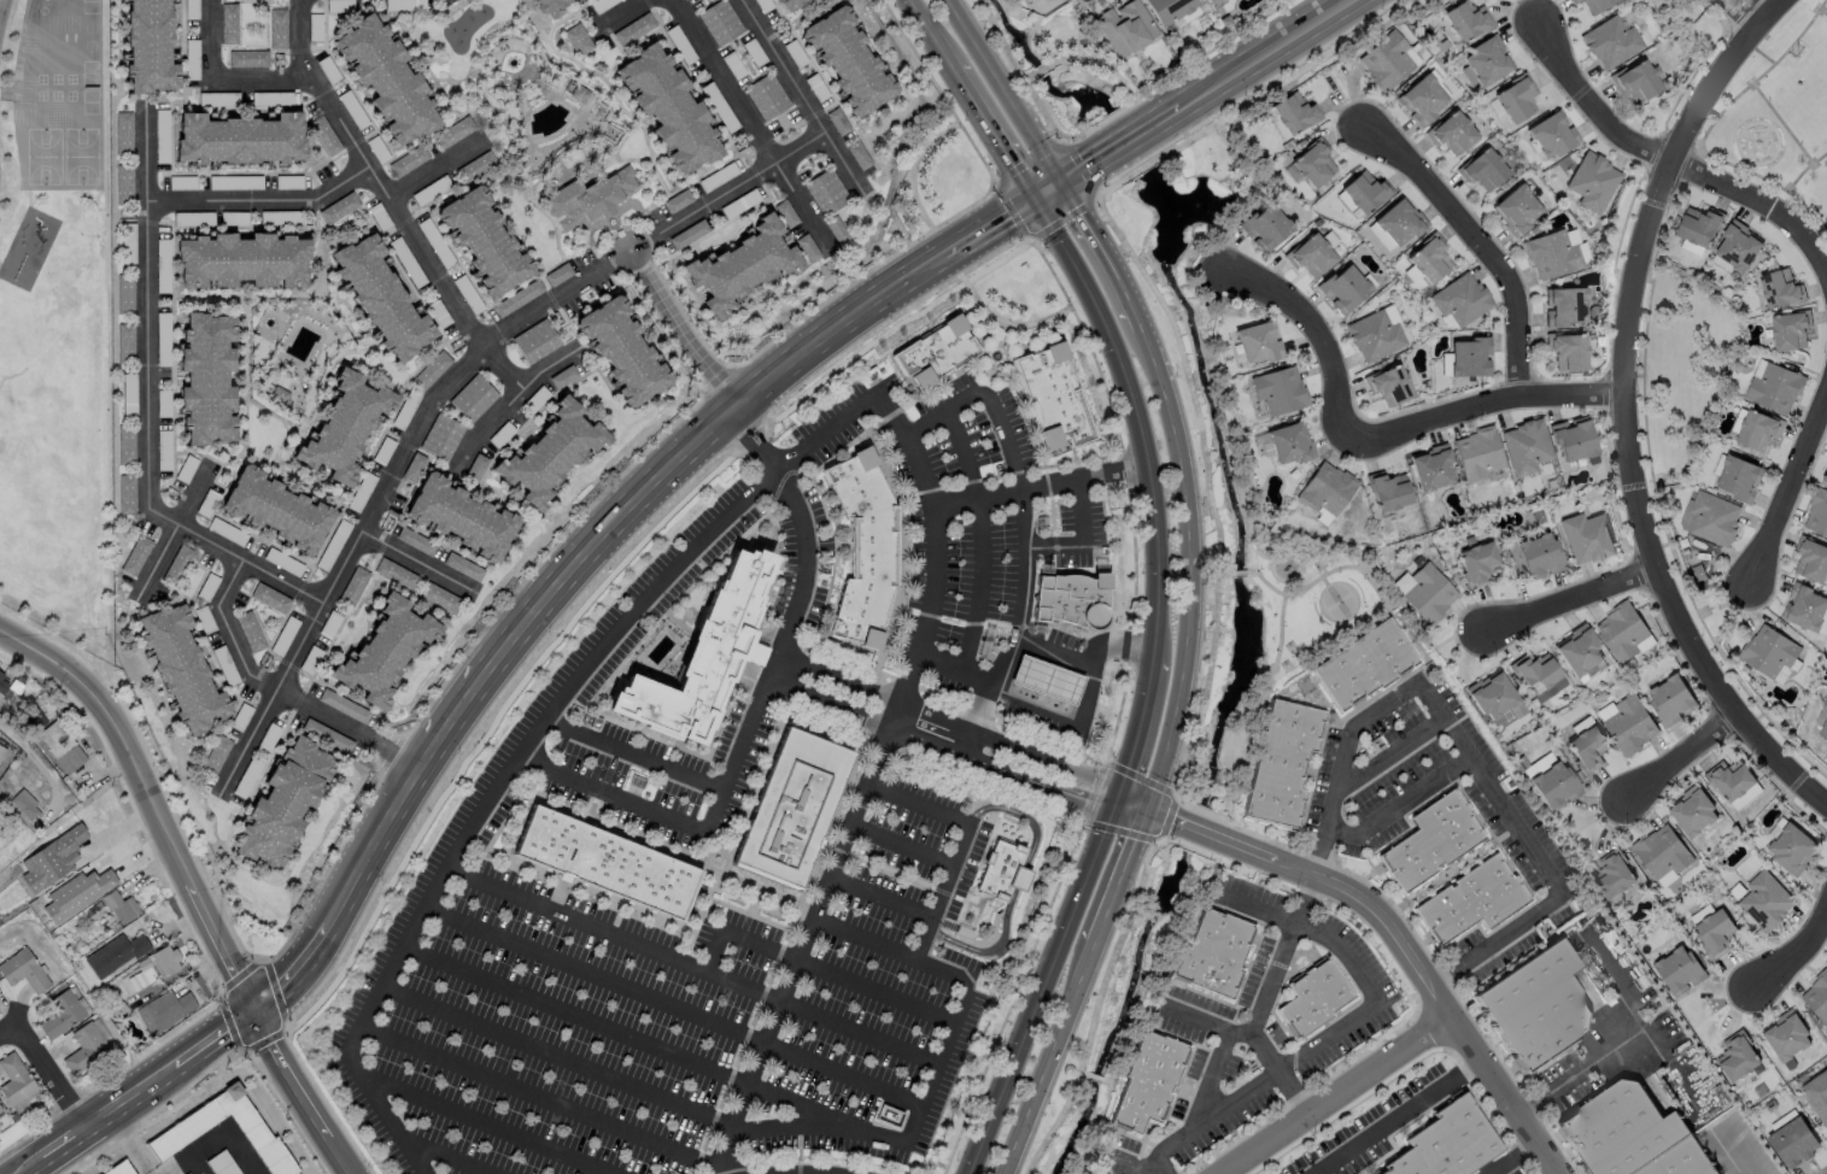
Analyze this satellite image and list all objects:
building: (1206, 1)
building: (1211, 1)
building: (791, 4)
building: (601, 5)
building: (549, 6)
building: (1592, 6)
road: (1770, 6)
road: (1820, 7)
building: (1167, 8)
road: (1, 10)
road: (619, 14)
building: (1465, 20)
building: (720, 22)
road: (1727, 22)
building: (228, 23)
road: (297, 25)
park: (464, 25)
building: (277, 28)
building: (633, 29)
building: (1128, 29)
road: (1079, 31)
road: (929, 36)
building: (576, 39)
building: (1610, 40)
building: (152, 43)
road: (1788, 47)
road: (1761, 52)
road: (1264, 53)
building: (247, 58)
building: (1387, 59)
building: (1486, 59)
building: (847, 60)
road: (1099, 64)
road: (1042, 69)
road: (1019, 71)
road: (1027, 76)
building: (1635, 78)
road: (221, 80)
building: (387, 80)
road: (1002, 89)
building: (578, 93)
building: (766, 95)
road: (801, 96)
building: (1422, 99)
building: (1515, 101)
building: (667, 105)
building: (1295, 112)
road: (1166, 115)
park: (1781, 115)
building: (160, 125)
road: (750, 125)
building: (123, 131)
building: (453, 131)
building: (1454, 133)
road: (990, 134)
building: (323, 135)
building: (1551, 135)
building: (241, 139)
road: (1122, 142)
road: (1799, 146)
building: (857, 154)
road: (1820, 157)
road: (28, 158)
park: (64, 158)
building: (1481, 159)
building: (408, 160)
road: (1665, 160)
building: (1314, 165)
road: (435, 166)
building: (474, 166)
road: (1081, 168)
road: (1076, 170)
traffic signals: (1060, 180)
building: (289, 181)
building: (1591, 181)
building: (124, 183)
road: (1046, 188)
building: (826, 190)
building: (1365, 192)
traffic signals: (1031, 196)
building: (1512, 196)
road: (259, 199)
building: (677, 200)
building: (586, 201)
fountain: (1183, 202)
building: (338, 207)
road: (1806, 207)
building: (785, 213)
fountain: (610, 221)
building: (1399, 222)
road: (403, 223)
road: (988, 225)
building: (1267, 225)
building: (1697, 225)
building: (424, 227)
building: (836, 229)
building: (685, 235)
road: (649, 237)
building: (482, 240)
road: (1474, 242)
building: (1545, 242)
building: (1737, 246)
building: (807, 247)
road: (1107, 253)
building: (1312, 256)
building: (239, 259)
building: (1429, 262)
building: (739, 265)
building: (557, 274)
building: (1779, 287)
building: (1343, 288)
building: (380, 294)
building: (1564, 294)
building: (124, 295)
building: (516, 298)
building: (1459, 298)
building: (1793, 327)
building: (1374, 335)
building: (1568, 339)
building: (124, 340)
building: (535, 340)
road: (1314, 340)
building: (926, 341)
building: (1258, 344)
building: (620, 351)
fountain: (996, 354)
building: (1468, 358)
building: (431, 369)
building: (562, 376)
building: (206, 378)
building: (1048, 385)
building: (1387, 385)
building: (1779, 387)
building: (1278, 391)
building: (472, 398)
road: (1487, 399)
road: (508, 400)
road: (1627, 410)
building: (403, 412)
road: (1134, 418)
building: (345, 424)
building: (1752, 428)
building: (440, 436)
road: (687, 441)
building: (1290, 444)
building: (1574, 444)
building: (125, 446)
building: (1527, 448)
building: (382, 450)
building: (547, 451)
building: (1480, 457)
building: (412, 465)
building: (474, 466)
building: (1433, 469)
building: (1732, 477)
road: (1036, 485)
road: (382, 487)
road: (1207, 488)
building: (1327, 489)
building: (1390, 491)
building: (361, 492)
building: (125, 493)
road: (1788, 495)
building: (279, 509)
road: (1079, 510)
building: (1817, 512)
road: (158, 513)
building: (462, 516)
building: (1710, 517)
road: (1015, 522)
road: (974, 529)
road: (170, 533)
building: (861, 536)
building: (1588, 538)
building: (414, 541)
road: (1049, 544)
building: (332, 545)
building: (135, 556)
building: (1539, 556)
building: (1480, 560)
building: (1813, 560)
road: (417, 562)
building: (462, 567)
road: (1242, 573)
building: (396, 574)
road: (1223, 574)
road: (1369, 579)
road: (281, 580)
road: (1190, 580)
building: (352, 586)
park: (1310, 594)
building: (1427, 595)
building: (259, 597)
building: (438, 597)
building: (1071, 600)
park: (1339, 600)
road: (1577, 601)
building: (1804, 605)
road: (1281, 630)
building: (1622, 633)
road: (1050, 645)
building: (387, 648)
building: (1581, 651)
building: (1767, 651)
building: (705, 652)
road: (53, 662)
building: (183, 667)
building: (1364, 667)
building: (1538, 671)
building: (0, 674)
gas station: (1044, 677)
building: (1046, 679)
building: (1, 683)
road: (757, 688)
building: (1495, 699)
building: (1673, 699)
road: (457, 700)
building: (342, 705)
road: (1083, 708)
road: (1376, 709)
building: (1821, 709)
road: (972, 714)
building: (1632, 723)
road: (1141, 726)
road: (961, 730)
building: (326, 735)
building: (58, 745)
road: (637, 749)
building: (1587, 749)
building: (1, 750)
road: (950, 751)
building: (215, 755)
road: (35, 761)
road: (528, 761)
road: (1677, 761)
road: (1390, 762)
building: (1284, 764)
building: (1534, 767)
building: (1733, 781)
building: (1553, 783)
road: (863, 789)
traffic signals: (1120, 789)
road: (918, 799)
traffic signals: (1147, 800)
building: (282, 802)
building: (21, 804)
road: (1501, 804)
building: (790, 808)
road: (1154, 809)
building: (1696, 812)
road: (1023, 816)
traffic signals: (1108, 816)
road: (1169, 818)
road: (1170, 820)
road: (1150, 821)
road: (385, 823)
traffic signals: (1140, 826)
road: (1200, 832)
road: (898, 837)
building: (1434, 843)
building: (1793, 847)
building: (1665, 852)
building: (49, 858)
building: (603, 862)
building: (1000, 870)
road: (1018, 877)
building: (1612, 877)
road: (1117, 884)
building: (75, 893)
building: (1768, 897)
road: (874, 899)
building: (1472, 900)
building: (116, 905)
building: (1700, 914)
building: (1714, 931)
road: (857, 933)
road: (219, 943)
road: (1799, 951)
building: (111, 953)
road: (988, 953)
building: (1217, 953)
road: (1282, 953)
road: (813, 958)
road: (686, 959)
building: (159, 961)
building: (1679, 967)
building: (22, 970)
road: (297, 972)
road: (1413, 972)
road: (1046, 981)
building: (1816, 996)
building: (1317, 998)
road: (667, 1000)
building: (1541, 1002)
road: (1095, 1005)
building: (165, 1008)
building: (59, 1012)
parking lot: (668, 1019)
road: (1339, 1027)
road: (13, 1032)
road: (621, 1034)
road: (1258, 1037)
building: (1790, 1037)
road: (1628, 1040)
building: (82, 1047)
road: (544, 1049)
road: (947, 1049)
road: (1050, 1057)
building: (1739, 1058)
road: (1673, 1068)
road: (1082, 1073)
road: (1208, 1076)
building: (13, 1079)
road: (1099, 1079)
road: (55, 1080)
building: (1150, 1082)
road: (135, 1092)
road: (527, 1092)
building: (1817, 1094)
road: (1339, 1097)
building: (0, 1110)
road: (1396, 1120)
building: (195, 1121)
road: (484, 1125)
building: (1638, 1137)
road: (218, 1138)
road: (130, 1143)
building: (1794, 1143)
building: (1441, 1145)
road: (1731, 1154)
road: (444, 1158)
road: (1518, 1162)
building: (221, 1163)
road: (198, 1164)
road: (1134, 1167)
building: (121, 1169)
building: (191, 1173)

